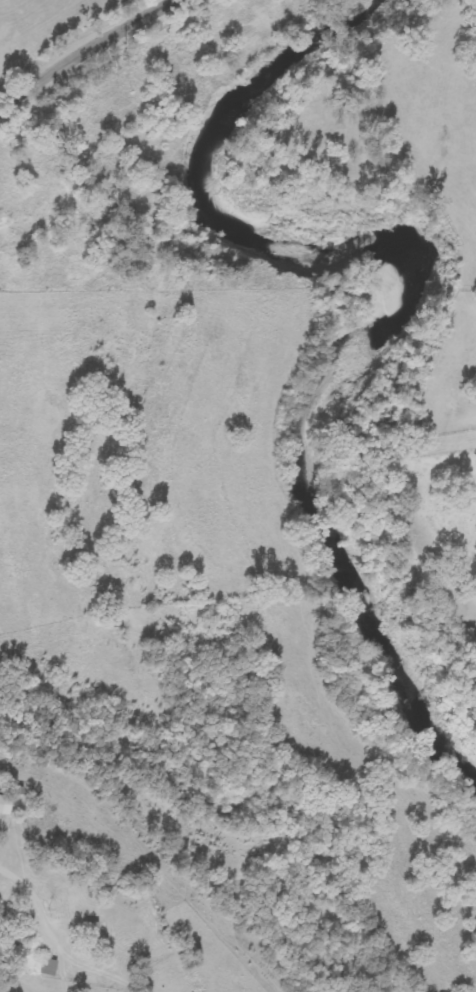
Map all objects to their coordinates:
crop: (48, 31)
road: (80, 49)
crop: (419, 409)
building: (5, 804)
road: (39, 915)
building: (90, 936)
building: (48, 968)

